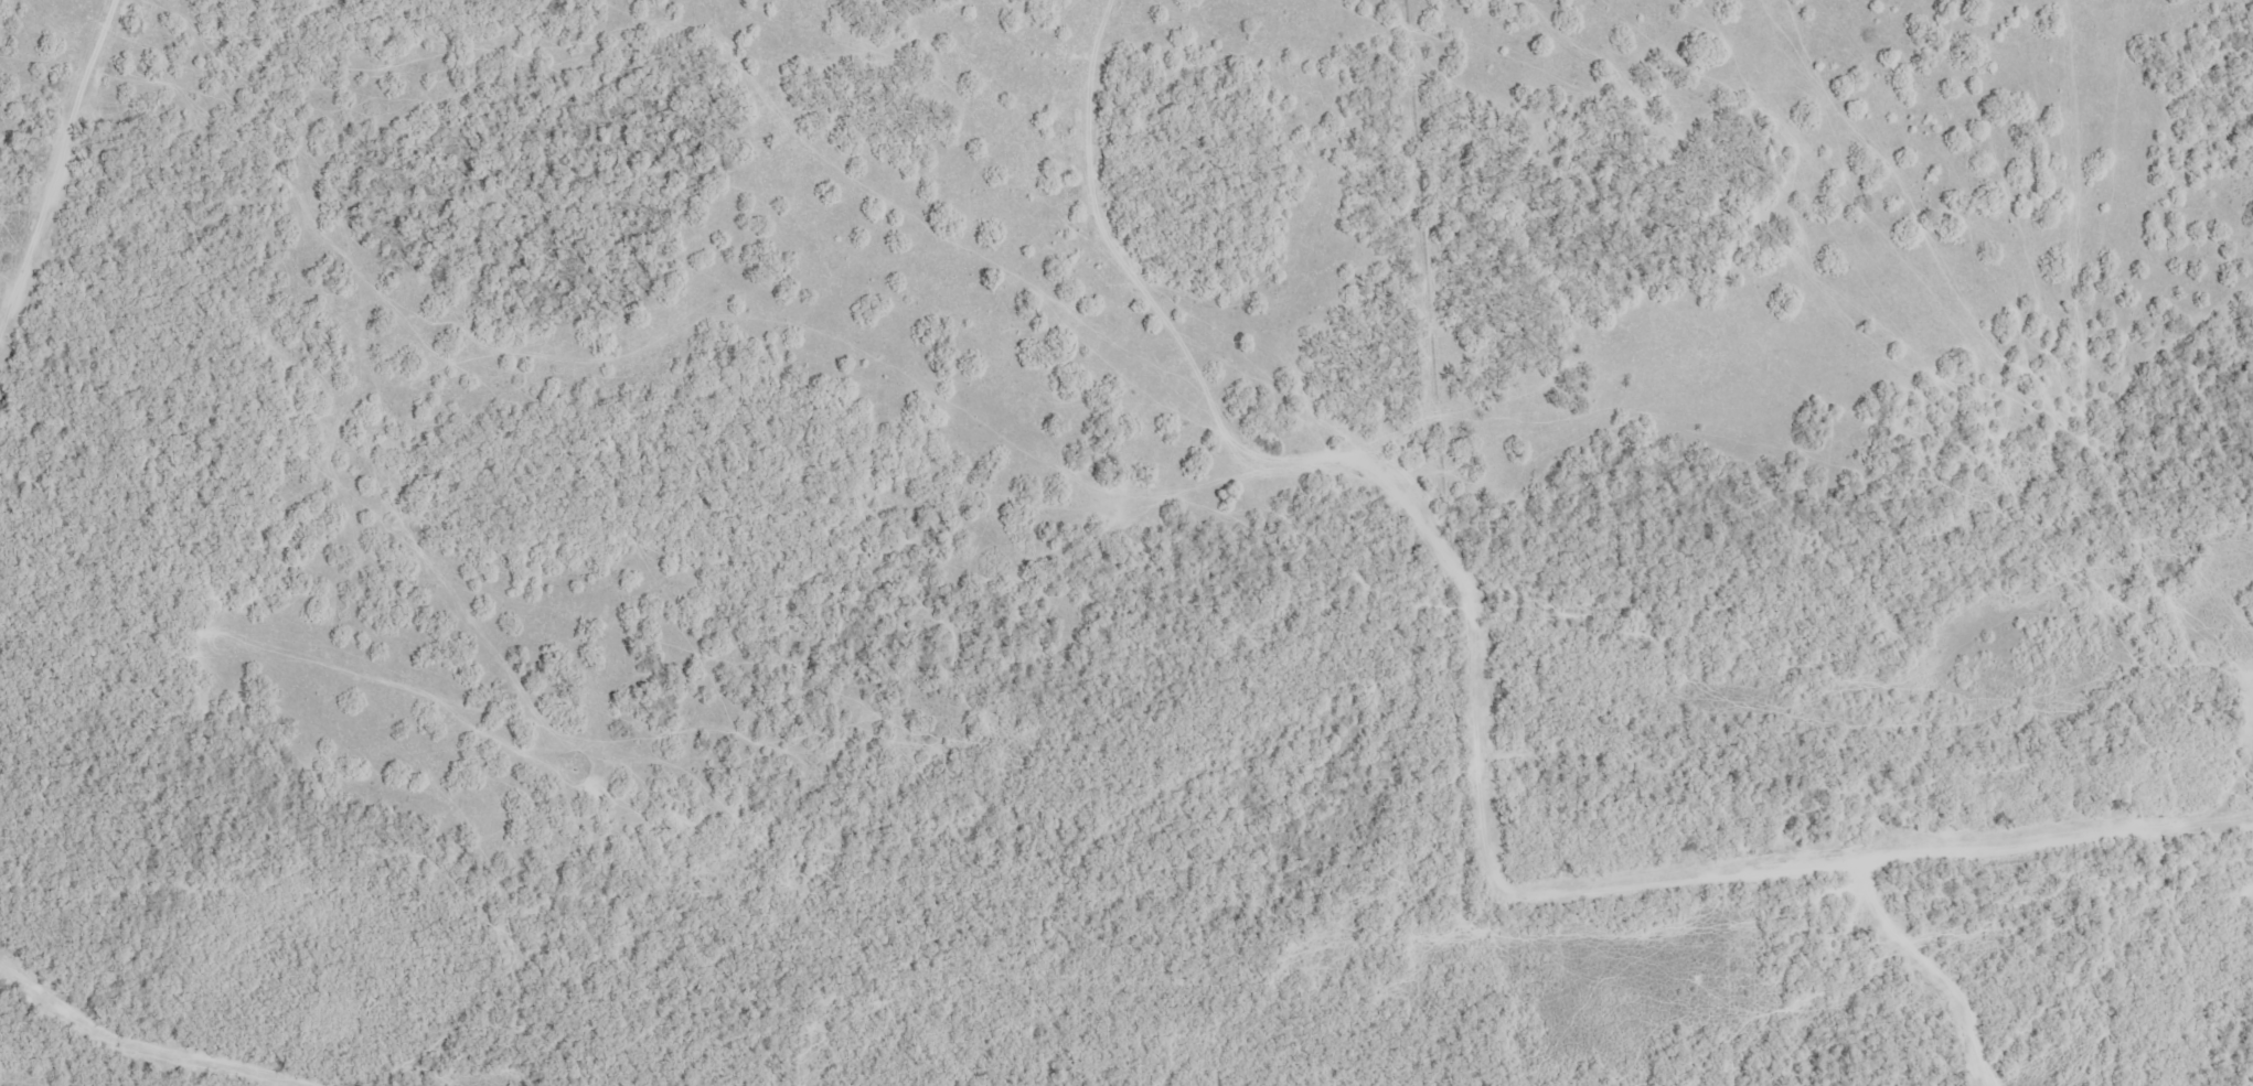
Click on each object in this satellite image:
road: (1528, 553)

